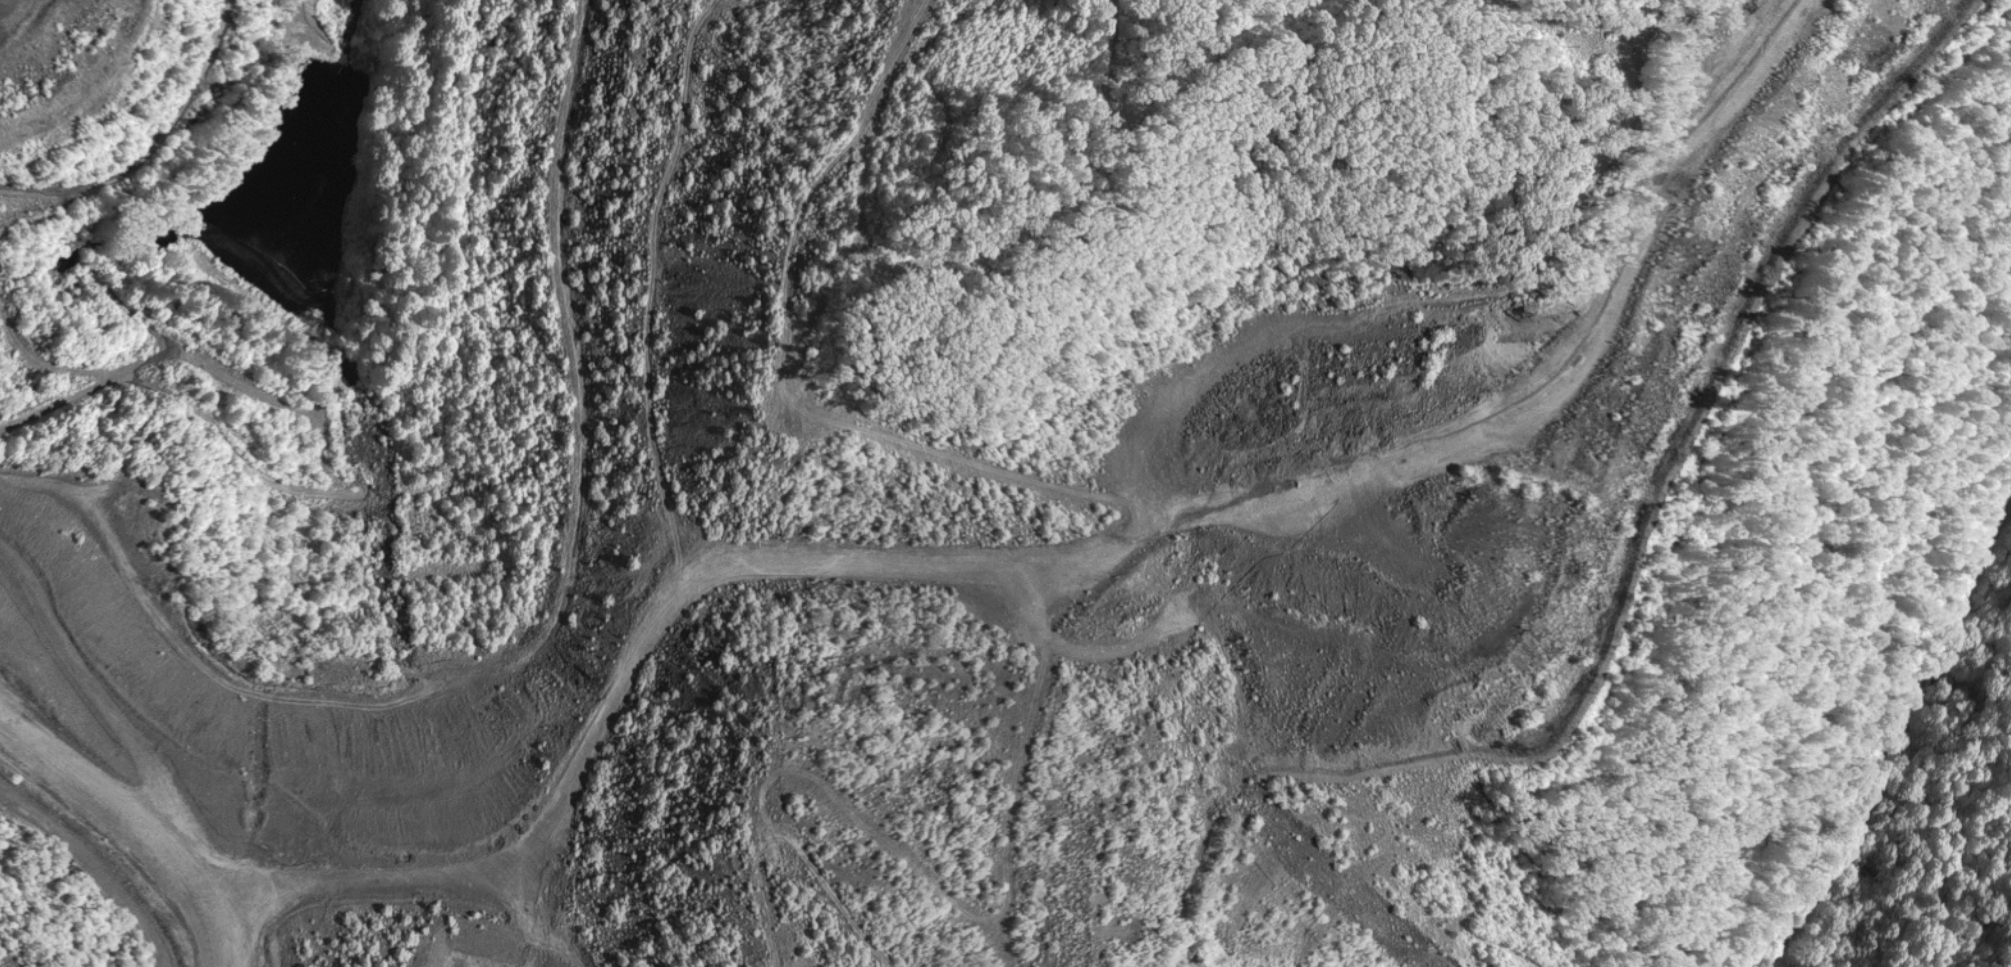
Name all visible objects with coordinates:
quarry: (1005, 483)

